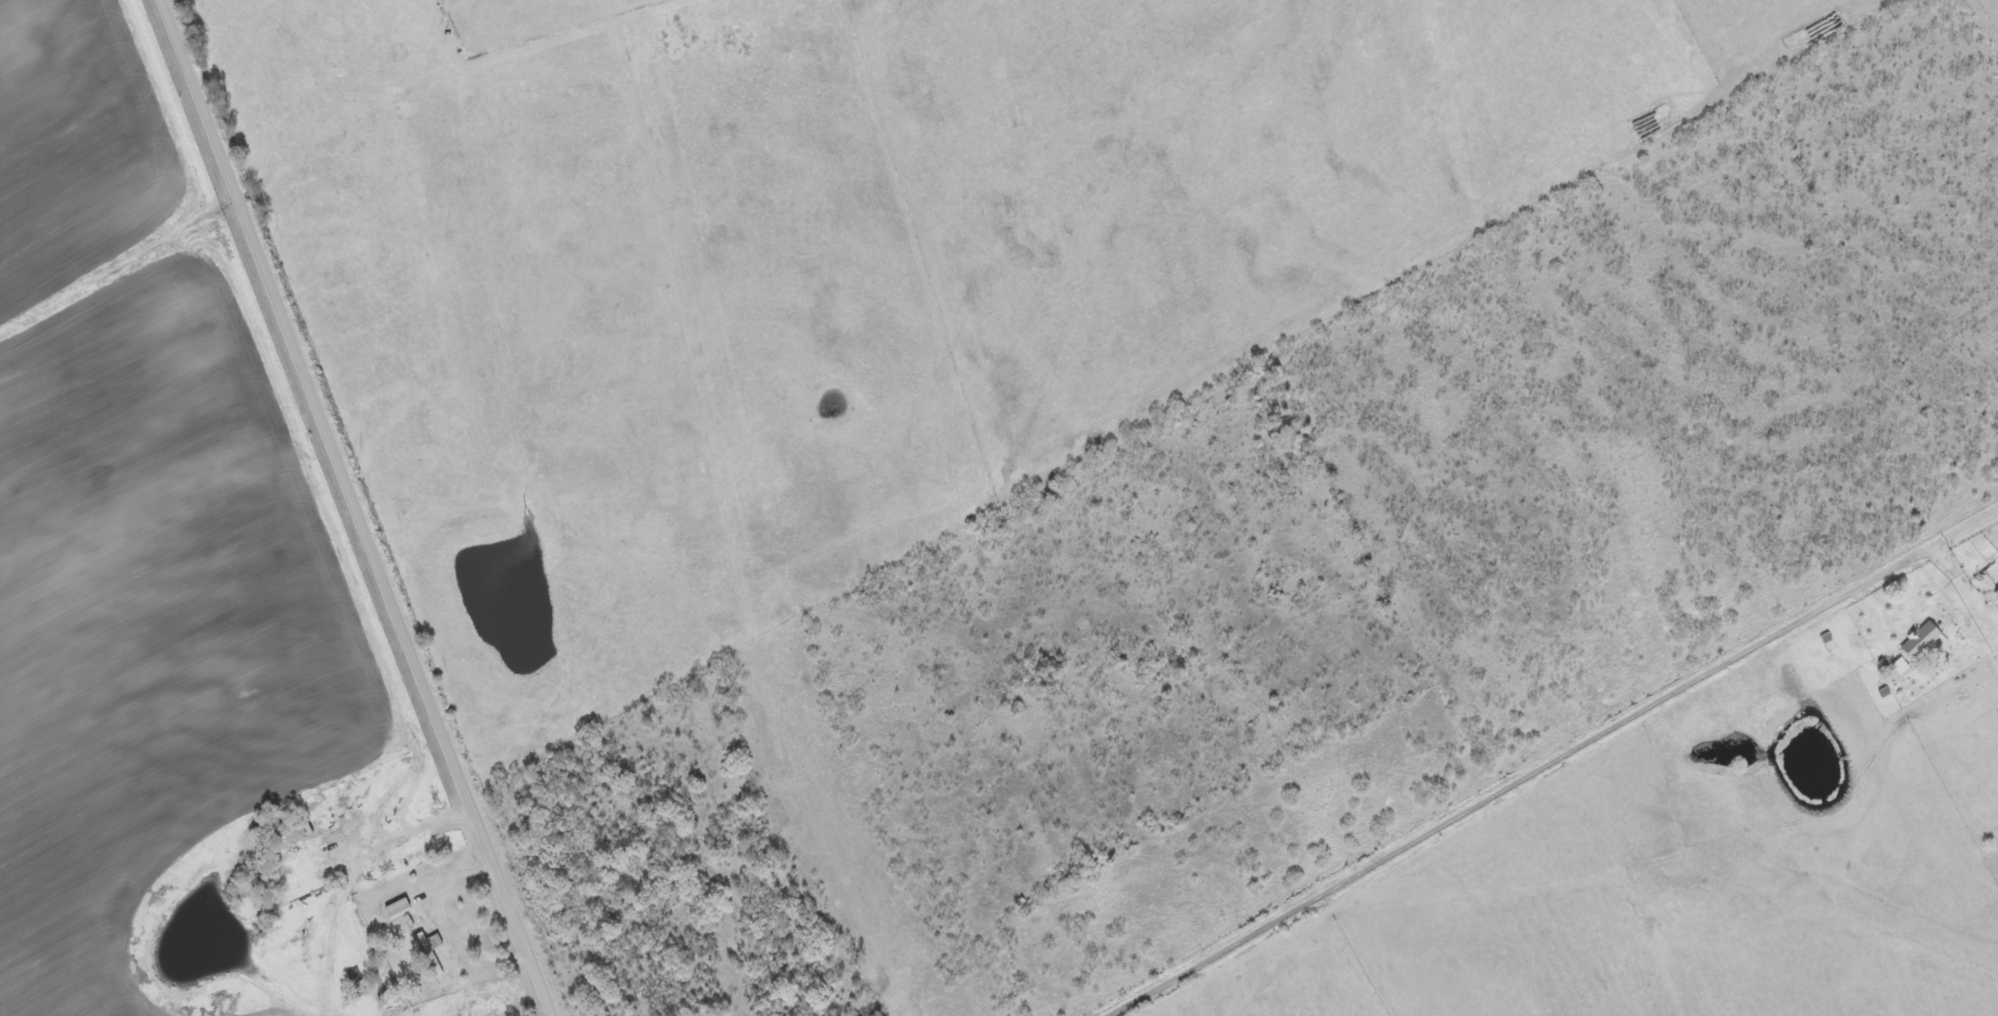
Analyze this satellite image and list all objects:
road: (362, 508)
building: (1997, 593)
building: (1923, 645)
building: (1900, 668)
building: (397, 910)
building: (430, 953)
road: (1221, 958)

